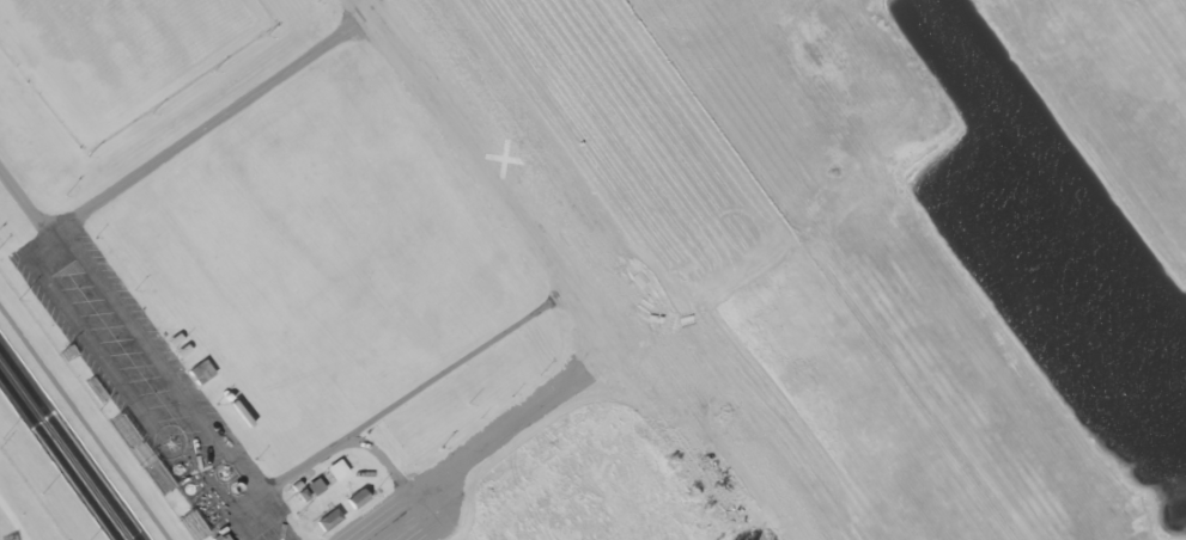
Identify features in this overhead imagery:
road: (14, 207)
airport: (987, 220)
road: (582, 270)
building: (195, 373)
parking lot: (141, 386)
raceway: (60, 455)
building: (330, 472)
building: (5, 481)
building: (312, 486)
building: (353, 498)
building: (326, 518)

